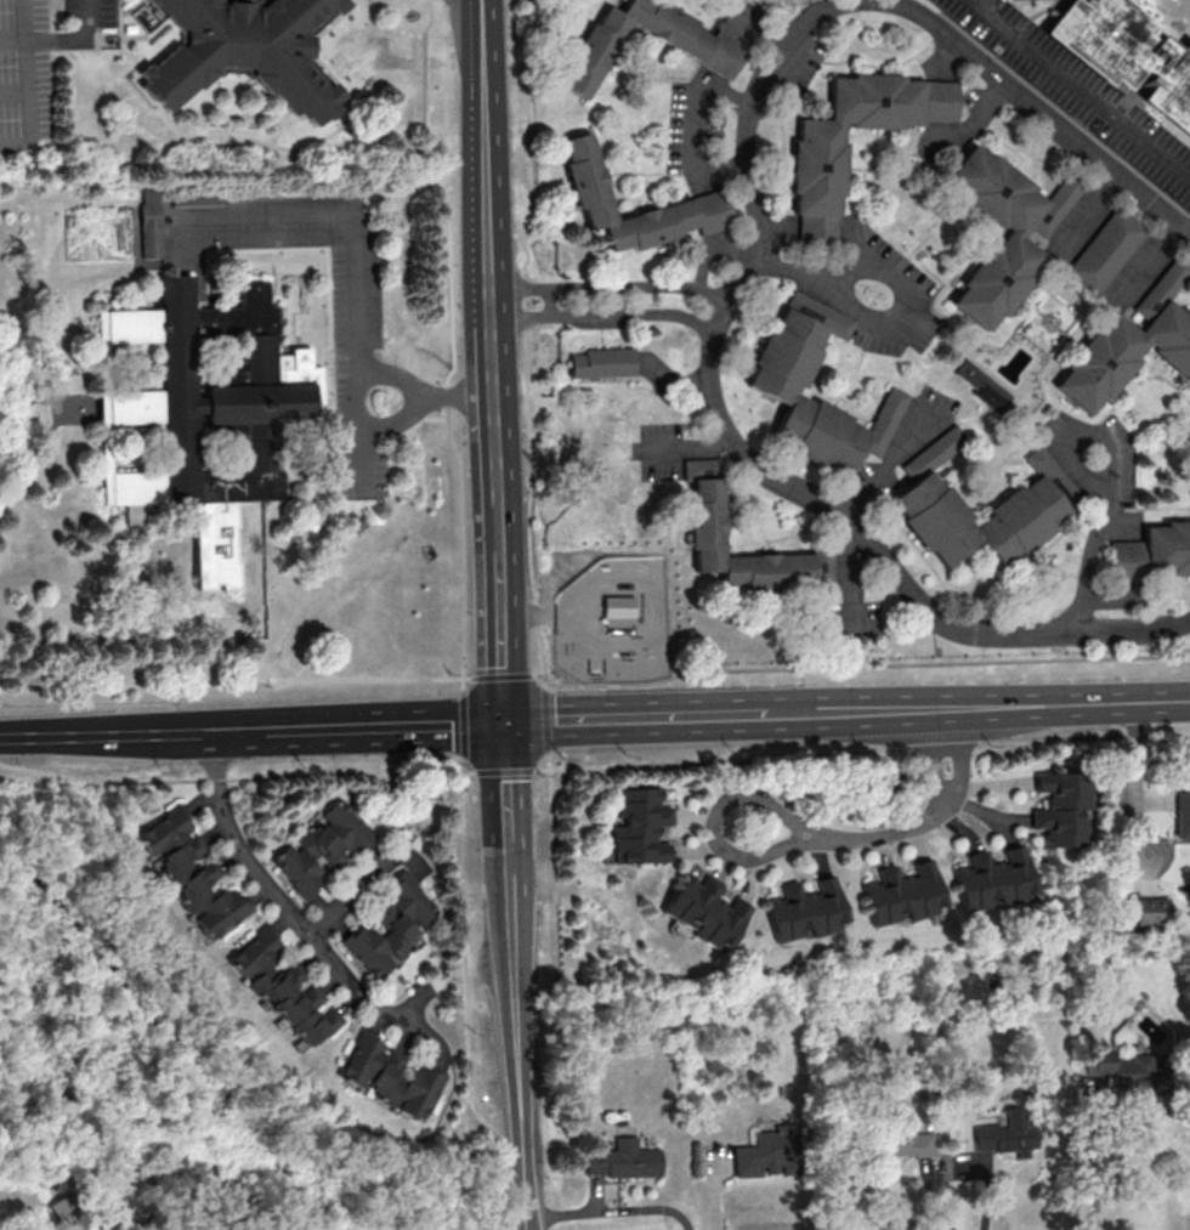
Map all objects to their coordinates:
parking lot: (90, 12)
building: (663, 27)
road: (753, 33)
road: (76, 39)
road: (13, 40)
building: (590, 52)
building: (249, 53)
building: (715, 55)
building: (1127, 56)
parking lot: (24, 74)
road: (424, 80)
road: (28, 85)
road: (1081, 89)
road: (15, 93)
building: (933, 100)
building: (871, 101)
road: (1041, 108)
road: (975, 120)
road: (692, 123)
road: (262, 141)
building: (814, 166)
building: (582, 181)
building: (992, 191)
building: (197, 199)
building: (1053, 204)
road: (1088, 209)
building: (703, 212)
building: (148, 226)
road: (351, 226)
building: (644, 226)
building: (811, 229)
building: (1105, 249)
road: (1146, 265)
building: (992, 278)
road: (606, 288)
building: (1157, 291)
building: (815, 314)
road: (603, 316)
parking lot: (356, 325)
road: (897, 330)
road: (526, 334)
building: (1168, 338)
building: (786, 356)
road: (492, 361)
building: (599, 363)
building: (1096, 363)
road: (669, 382)
building: (981, 387)
road: (437, 395)
building: (200, 401)
building: (880, 421)
building: (818, 431)
road: (1070, 438)
road: (357, 441)
road: (44, 444)
road: (681, 449)
road: (741, 452)
building: (933, 454)
road: (889, 463)
building: (697, 469)
building: (1053, 476)
building: (936, 517)
building: (1021, 520)
building: (707, 523)
road: (460, 535)
building: (1168, 546)
road: (1092, 551)
building: (1128, 560)
building: (818, 562)
building: (767, 568)
road: (851, 584)
building: (617, 606)
road: (866, 664)
road: (499, 675)
road: (543, 675)
road: (465, 682)
road: (236, 684)
road: (1062, 703)
road: (718, 714)
road: (546, 719)
road: (465, 722)
traffic signals: (503, 724)
road: (358, 726)
road: (108, 733)
road: (936, 753)
road: (862, 754)
road: (960, 754)
road: (505, 770)
road: (471, 772)
road: (232, 778)
building: (1061, 803)
building: (1181, 812)
building: (637, 826)
road: (851, 838)
building: (322, 848)
road: (552, 866)
building: (188, 872)
building: (992, 878)
building: (901, 892)
road: (348, 894)
building: (803, 909)
building: (1150, 909)
building: (703, 911)
road: (294, 914)
building: (391, 925)
road: (512, 976)
building: (280, 986)
road: (466, 997)
river: (160, 1033)
building: (1128, 1071)
building: (387, 1076)
building: (1004, 1133)
building: (906, 1143)
building: (767, 1151)
building: (622, 1158)
road: (1096, 1171)
road: (610, 1212)

